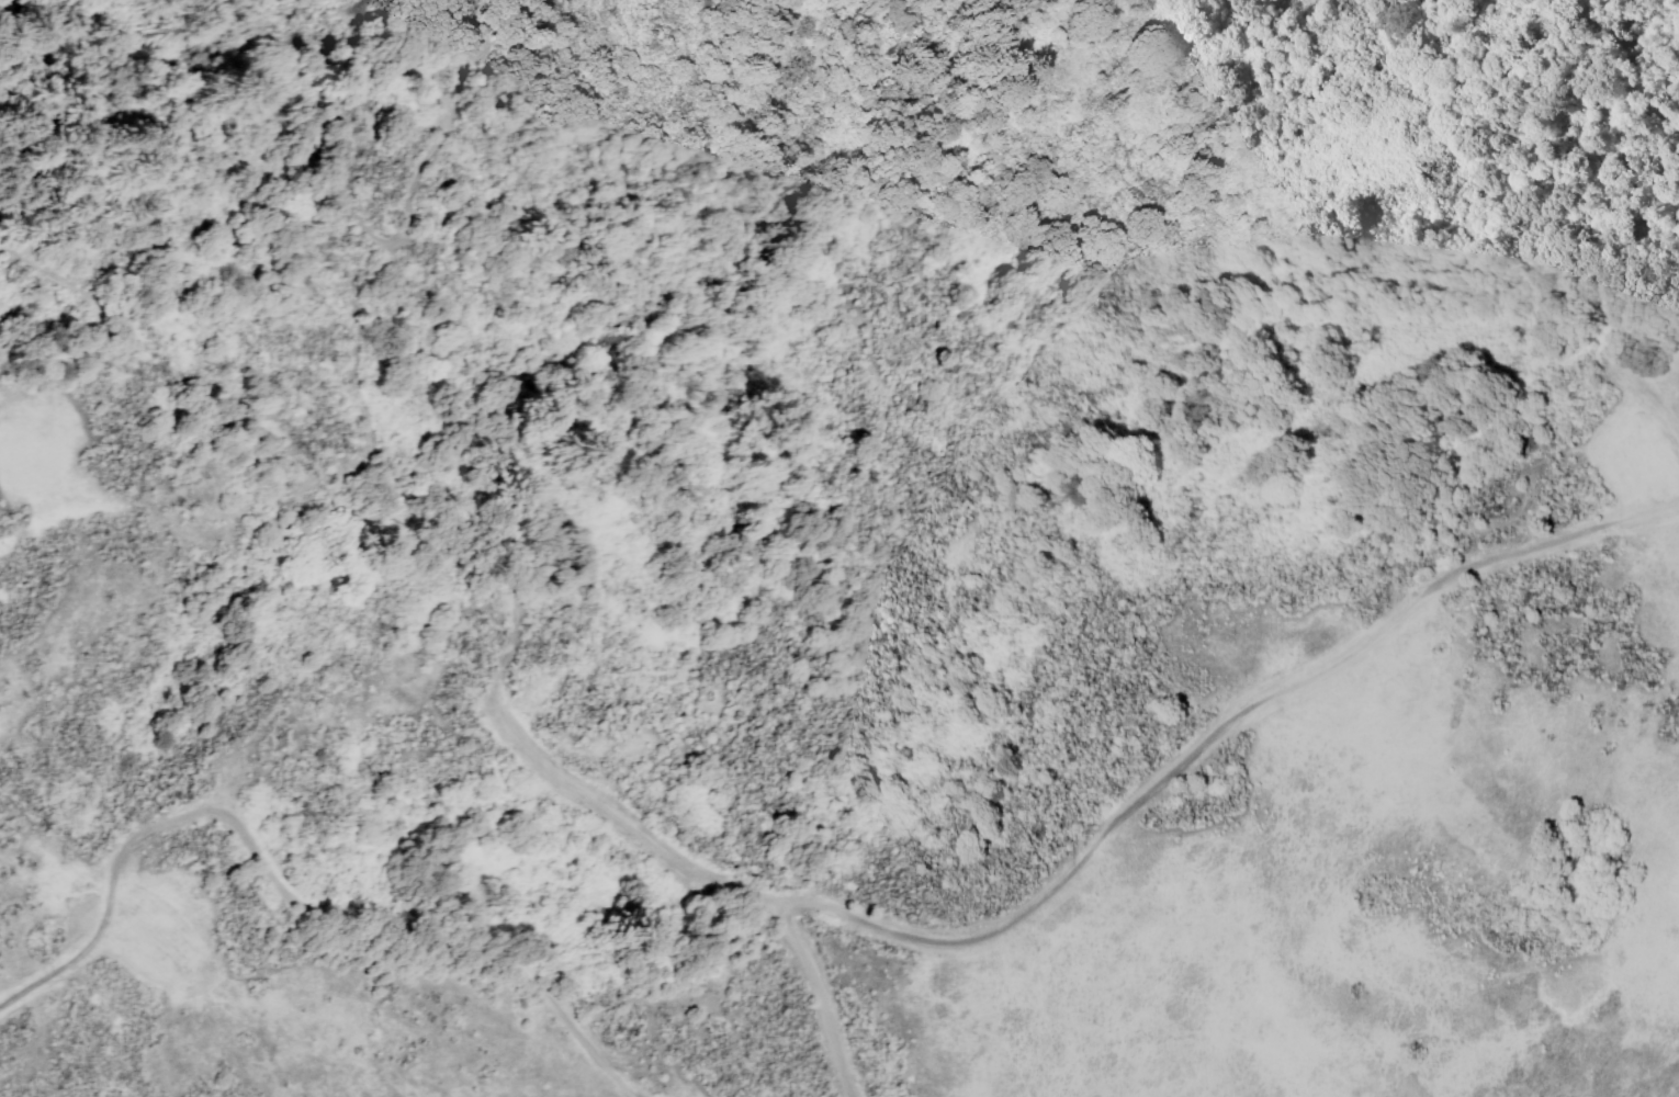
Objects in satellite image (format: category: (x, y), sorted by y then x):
road: (1136, 800)
road: (291, 877)

